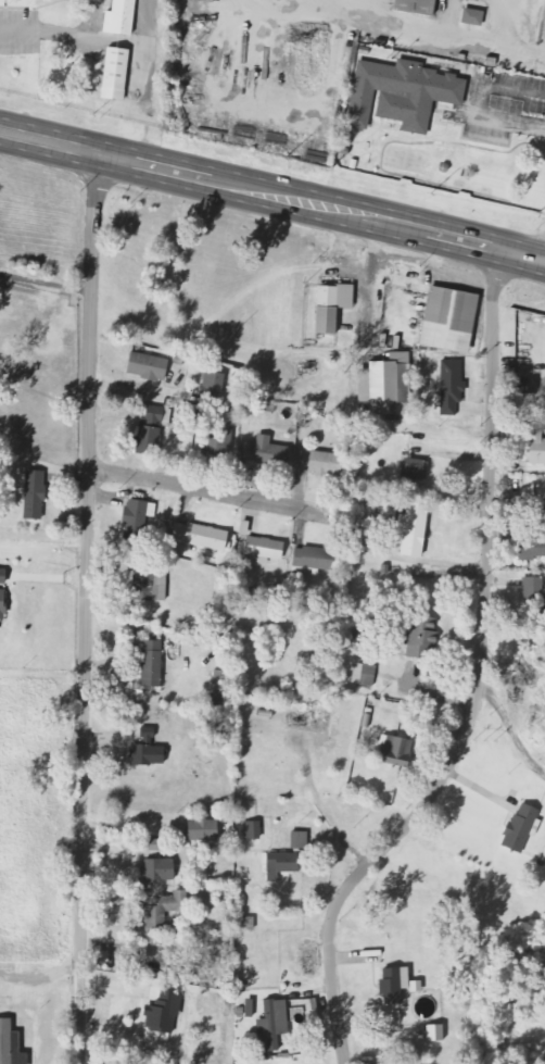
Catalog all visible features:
building: (413, 7)
building: (117, 16)
building: (470, 16)
road: (74, 35)
road: (148, 51)
building: (113, 72)
building: (398, 93)
road: (482, 101)
power tower: (100, 117)
road: (51, 142)
power tower: (326, 168)
road: (324, 206)
power tower: (535, 214)
building: (329, 305)
building: (445, 318)
building: (145, 366)
building: (384, 379)
building: (451, 387)
building: (211, 389)
building: (148, 430)
building: (219, 437)
building: (533, 441)
building: (264, 451)
building: (317, 462)
building: (414, 467)
road: (205, 490)
building: (31, 495)
building: (138, 511)
building: (413, 530)
building: (197, 536)
building: (532, 541)
building: (262, 548)
building: (310, 560)
building: (1, 576)
building: (149, 587)
building: (1, 606)
road: (86, 609)
building: (418, 636)
building: (150, 664)
building: (364, 674)
road: (478, 680)
building: (144, 750)
building: (390, 751)
building: (518, 828)
building: (200, 830)
building: (252, 830)
building: (297, 840)
building: (277, 865)
building: (157, 869)
building: (159, 911)
building: (389, 986)
building: (248, 1007)
building: (162, 1012)
building: (432, 1032)

